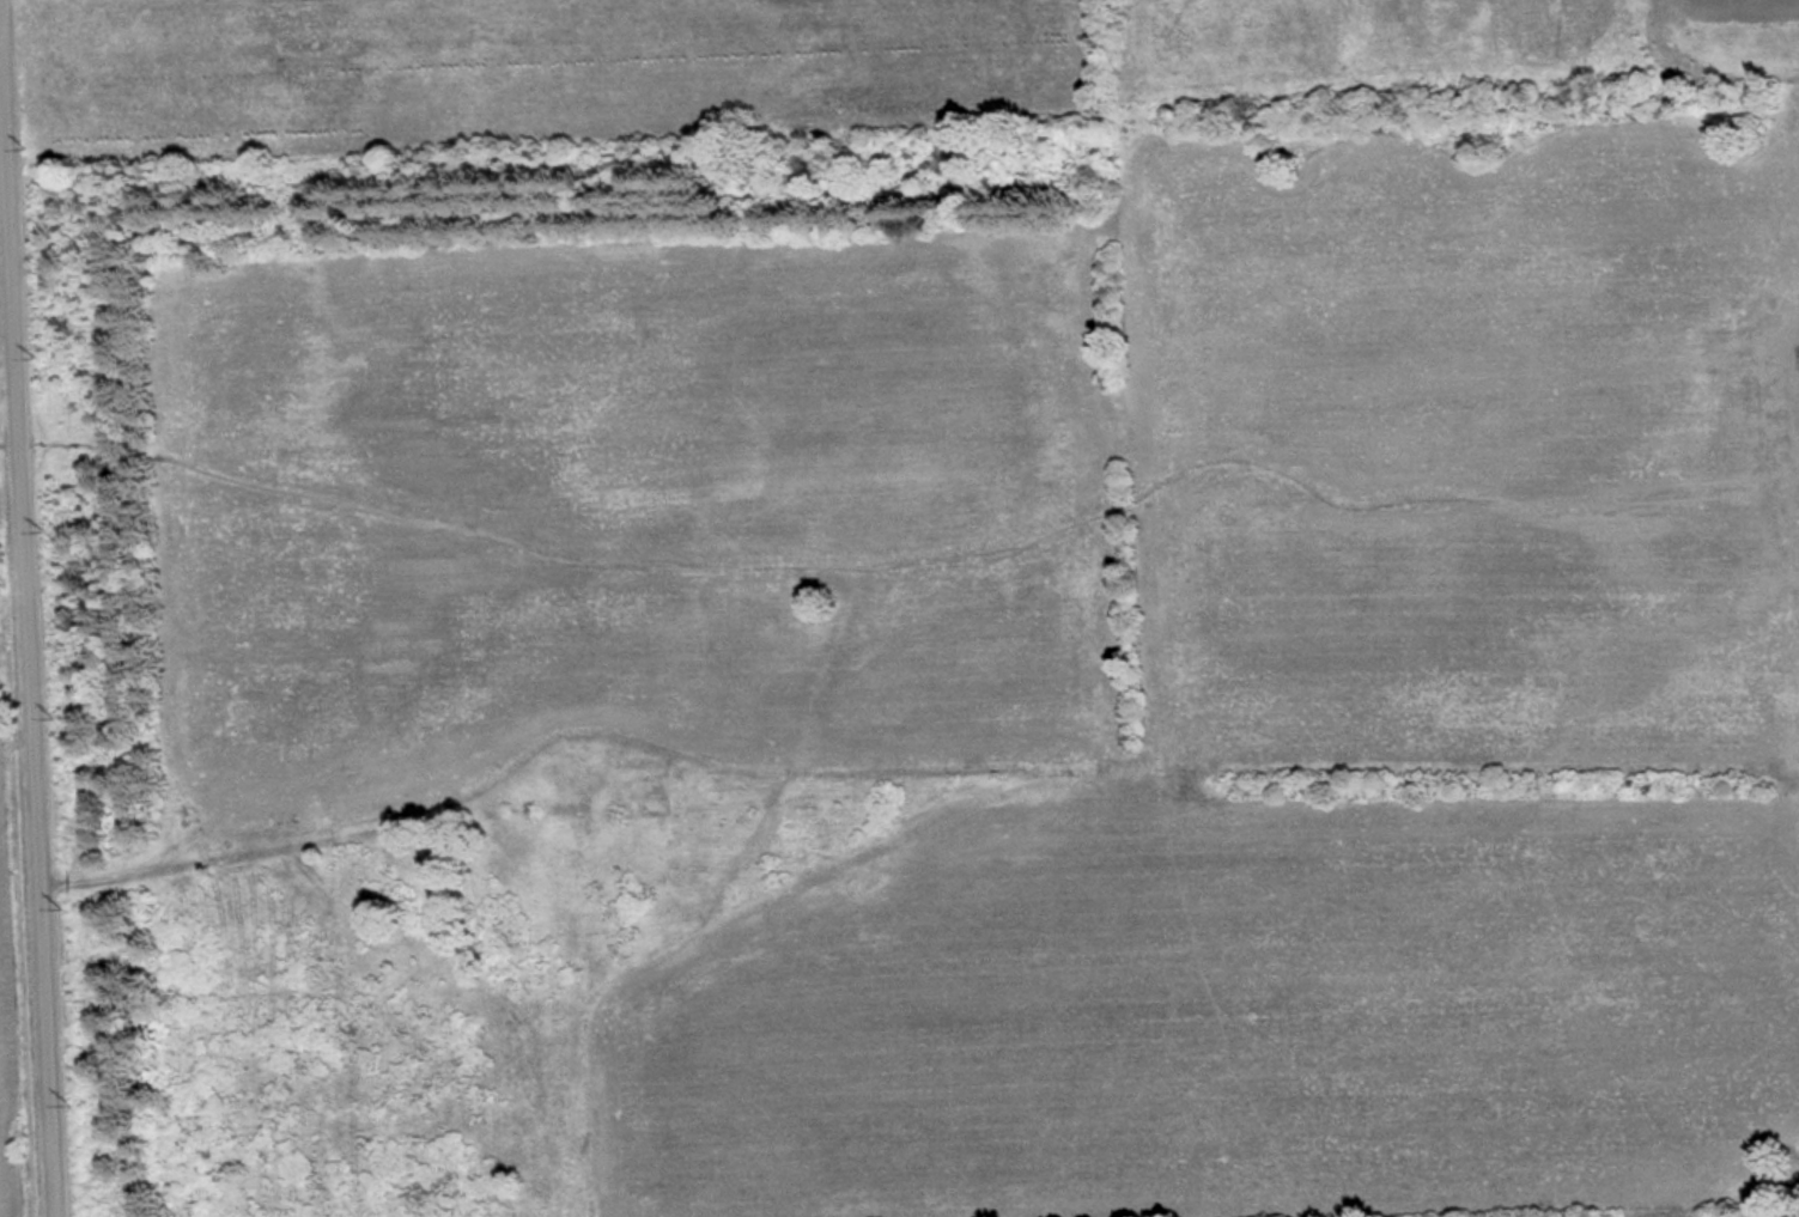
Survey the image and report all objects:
road: (26, 665)
road: (266, 817)

